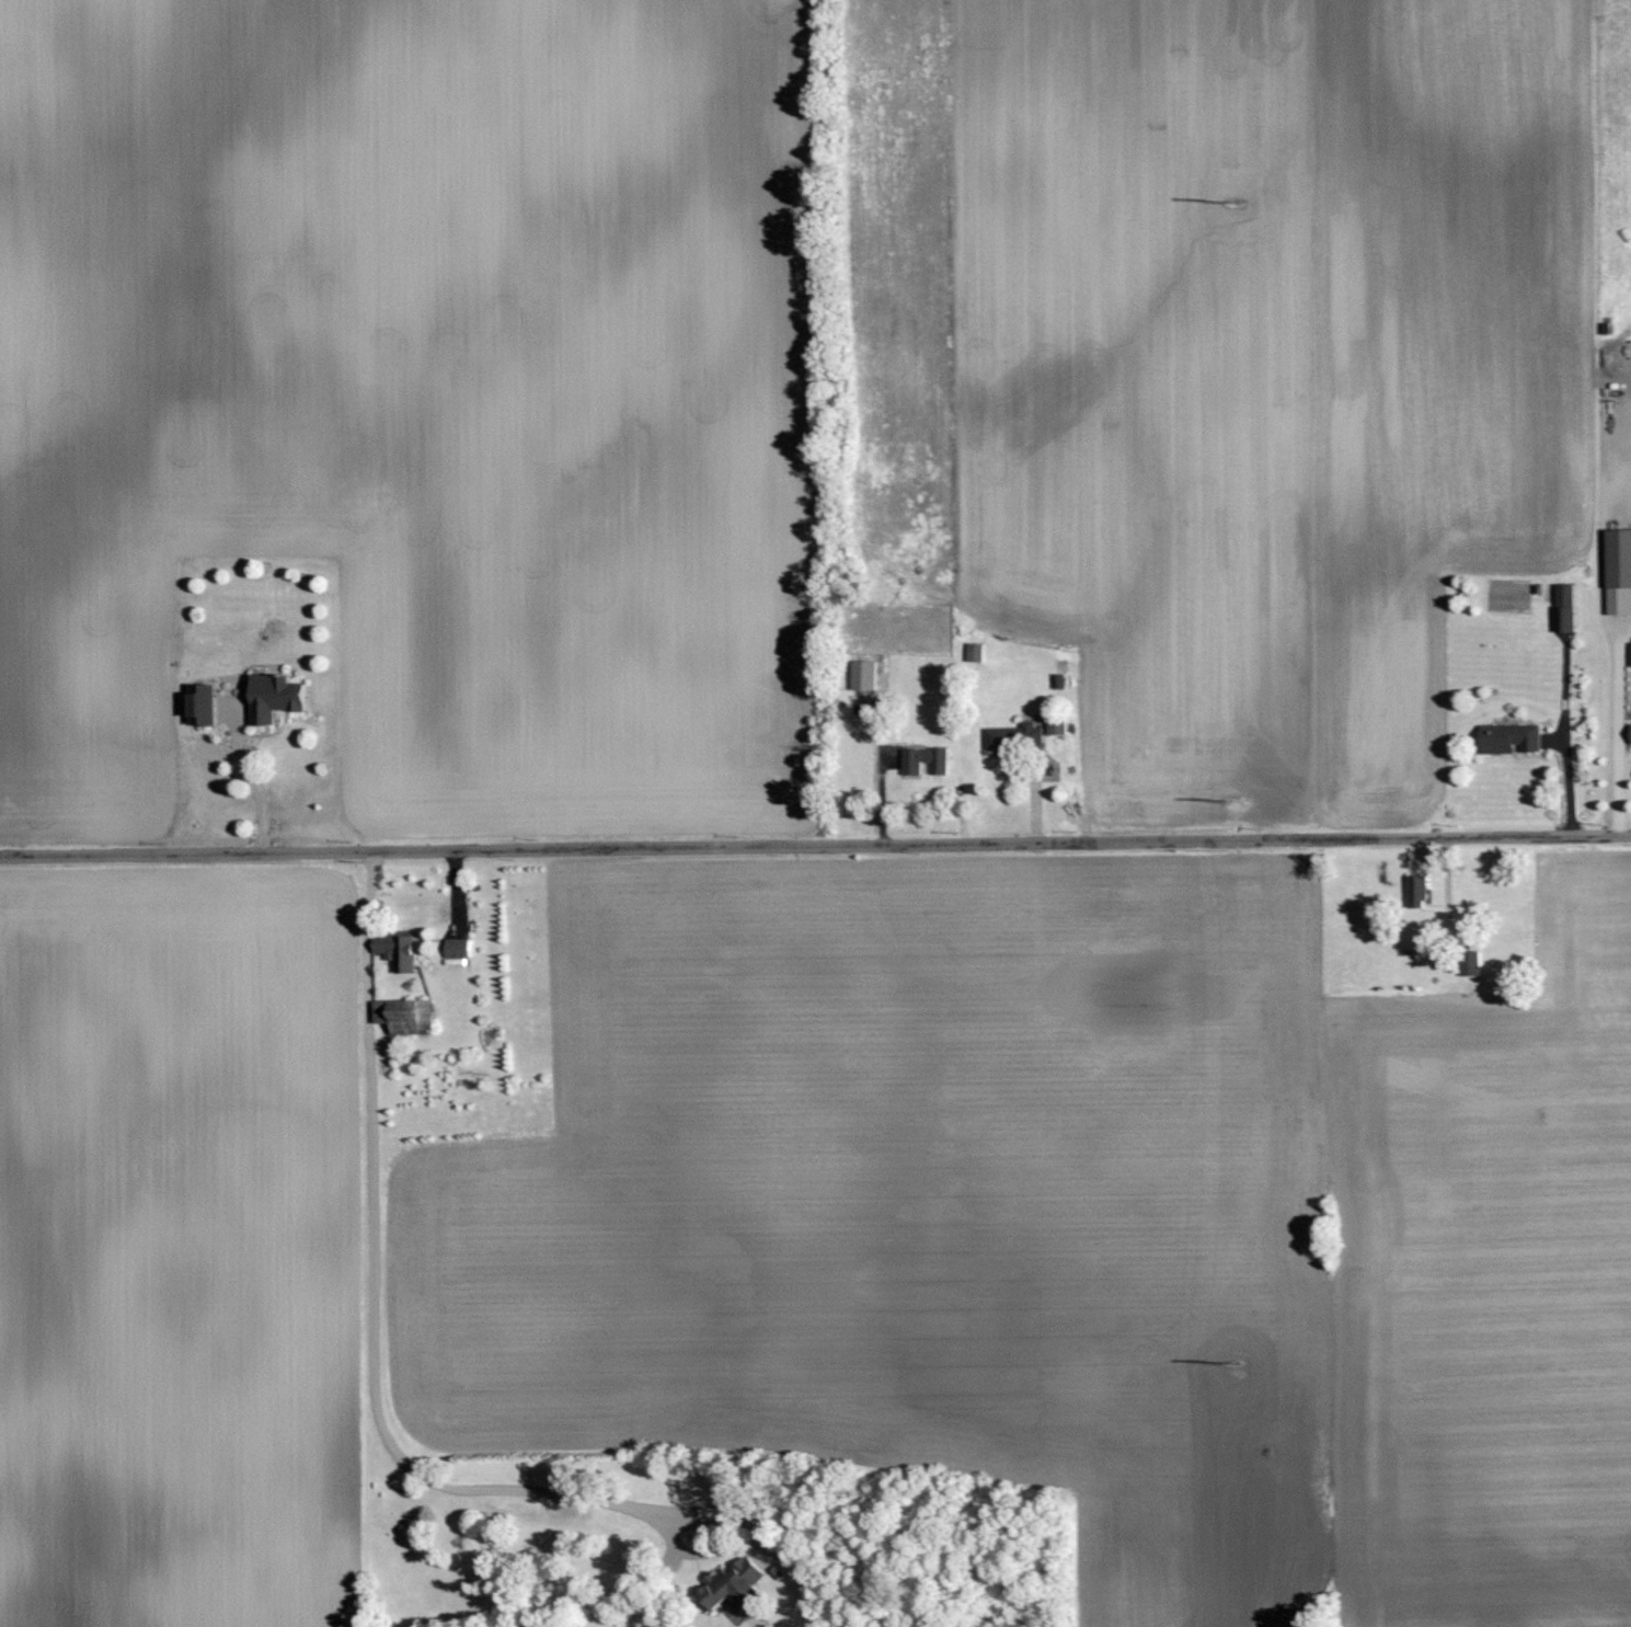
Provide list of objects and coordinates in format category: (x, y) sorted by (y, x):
power tower: (1231, 203)
road: (1604, 549)
building: (1618, 572)
building: (1563, 608)
road: (1627, 627)
building: (1630, 653)
building: (862, 676)
building: (273, 698)
building: (199, 704)
building: (1056, 726)
road: (1618, 732)
building: (1630, 734)
building: (1508, 738)
road: (1569, 747)
building: (923, 761)
road: (253, 781)
power tower: (1232, 802)
road: (815, 845)
road: (1448, 884)
building: (1415, 892)
building: (456, 949)
building: (398, 954)
building: (1470, 964)
building: (403, 1017)
road: (371, 1322)
power tower: (1232, 1364)
building: (731, 1585)

